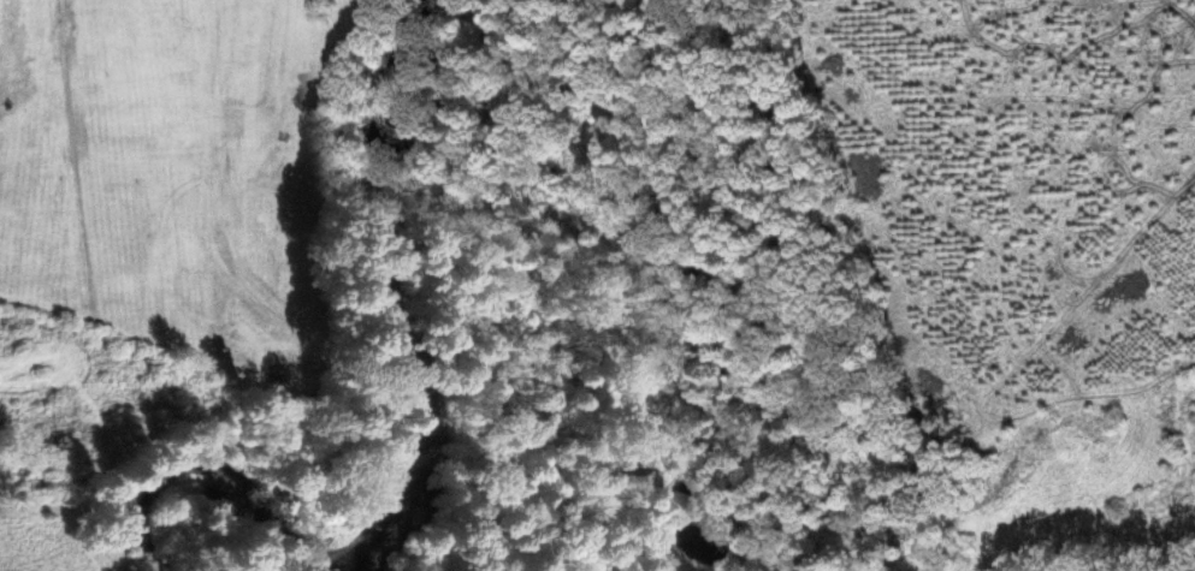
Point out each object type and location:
river: (408, 433)

